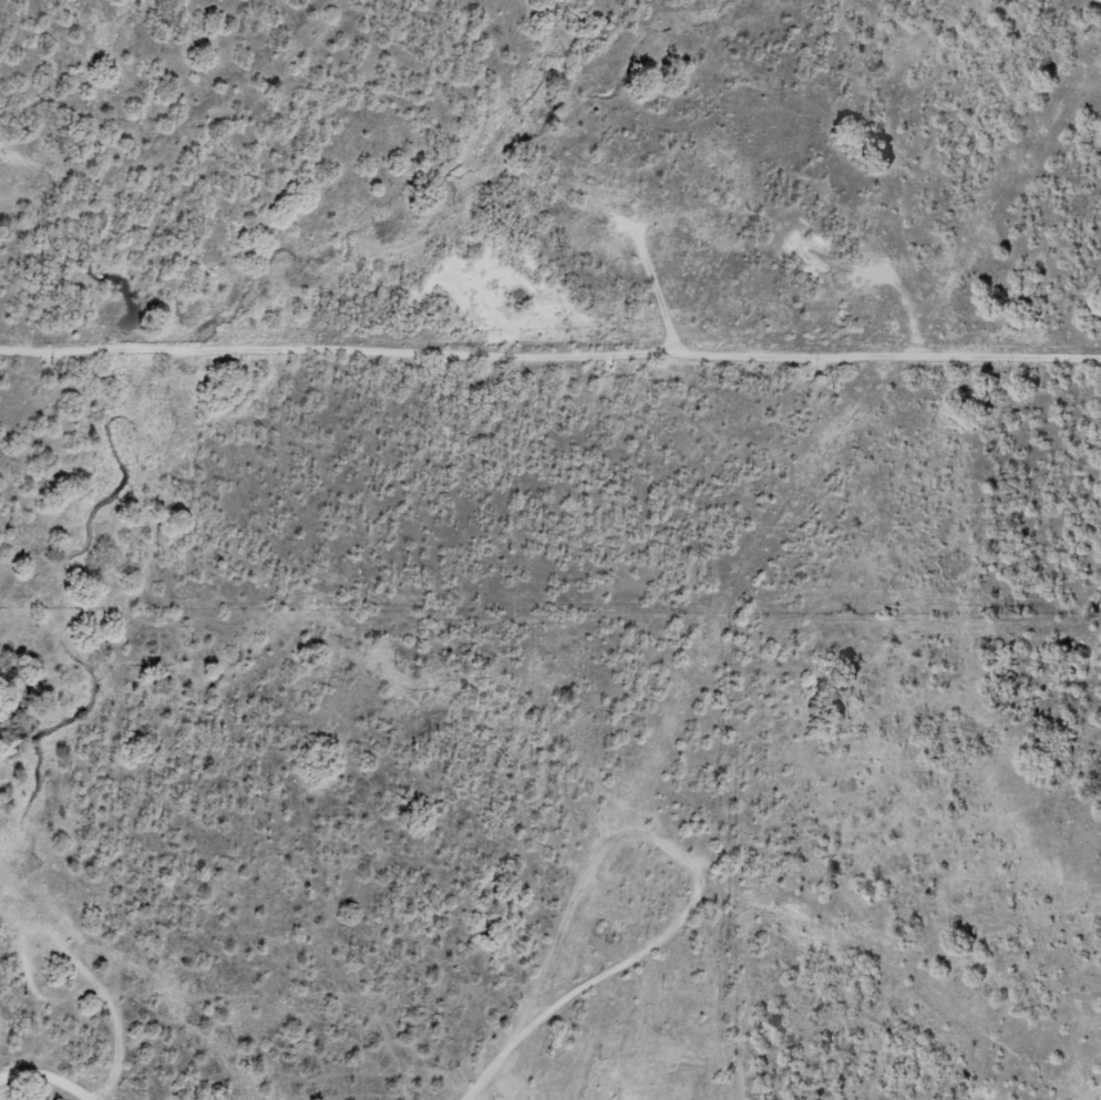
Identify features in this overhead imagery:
railway: (166, 134)
road: (905, 155)

